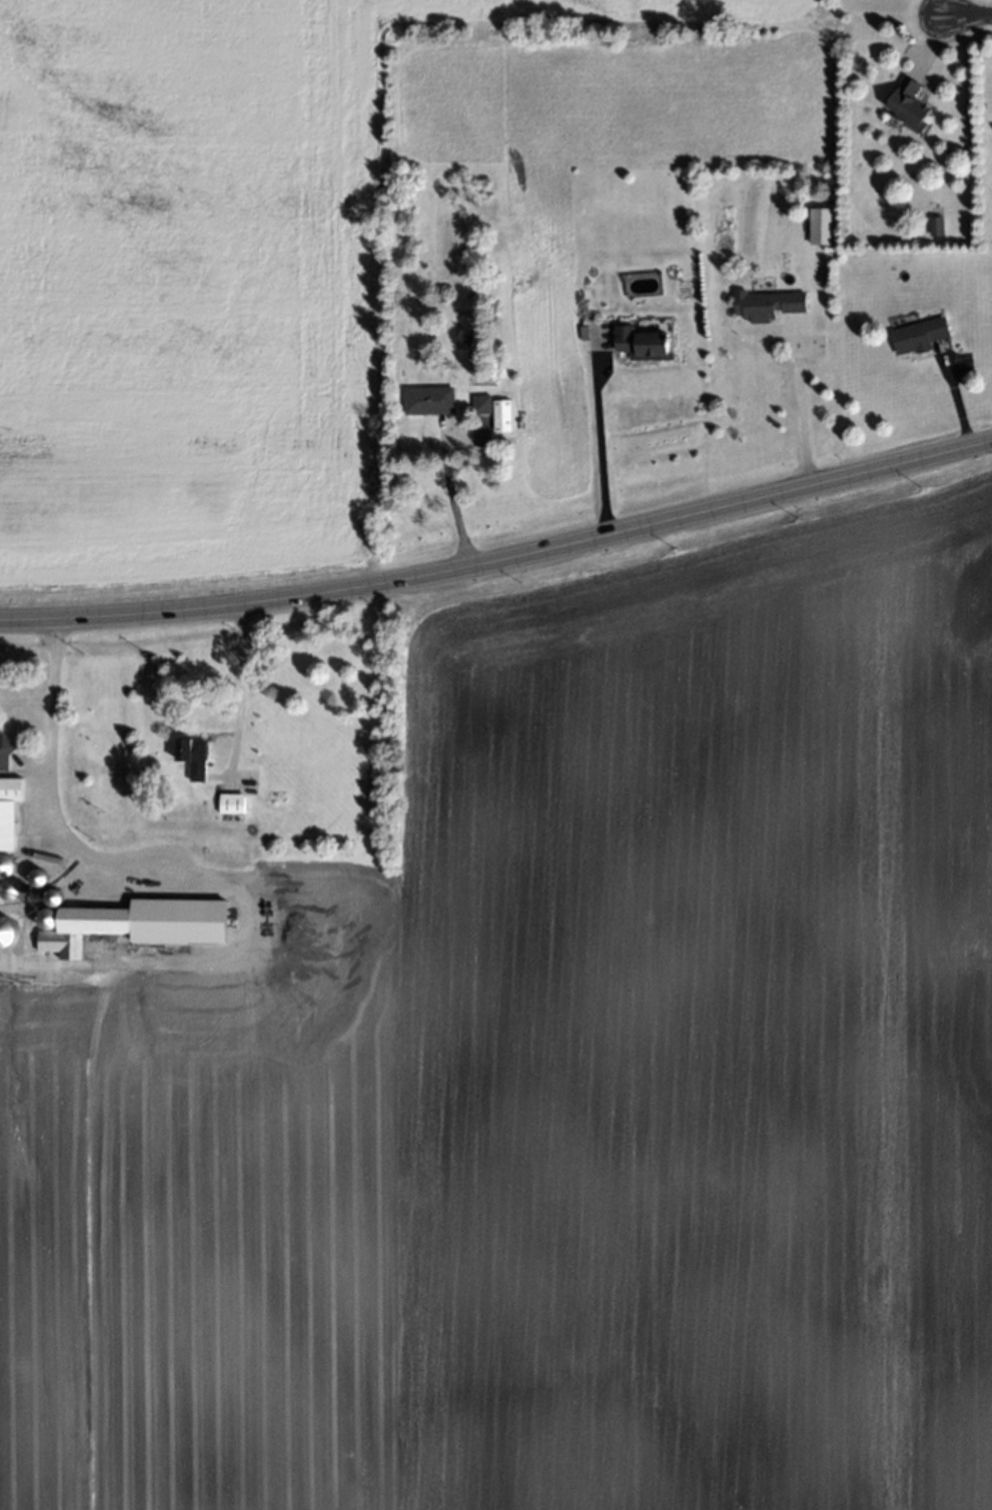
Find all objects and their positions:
road: (963, 14)
building: (903, 104)
building: (819, 224)
building: (931, 225)
building: (762, 299)
building: (915, 327)
building: (636, 342)
building: (425, 403)
building: (478, 406)
road: (799, 407)
building: (498, 419)
road: (597, 445)
road: (449, 500)
road: (500, 559)
road: (235, 665)
building: (16, 710)
road: (50, 715)
building: (4, 749)
building: (187, 755)
building: (228, 802)
building: (7, 808)
building: (5, 862)
building: (34, 875)
building: (7, 887)
building: (51, 894)
building: (44, 914)
building: (137, 924)
building: (6, 929)

